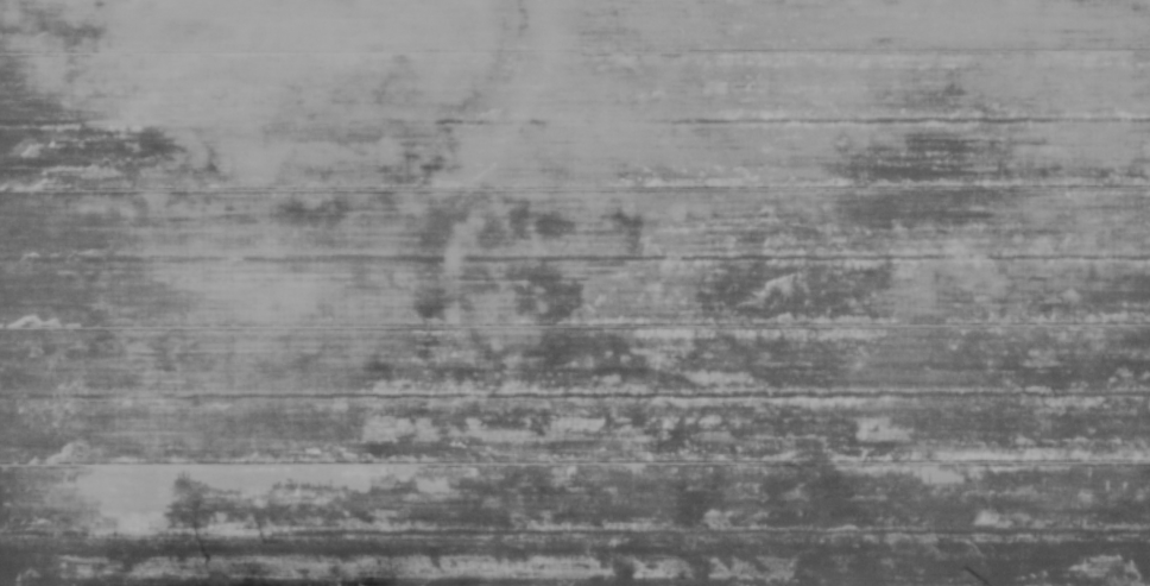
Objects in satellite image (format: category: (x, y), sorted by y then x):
crop: (575, 292)

